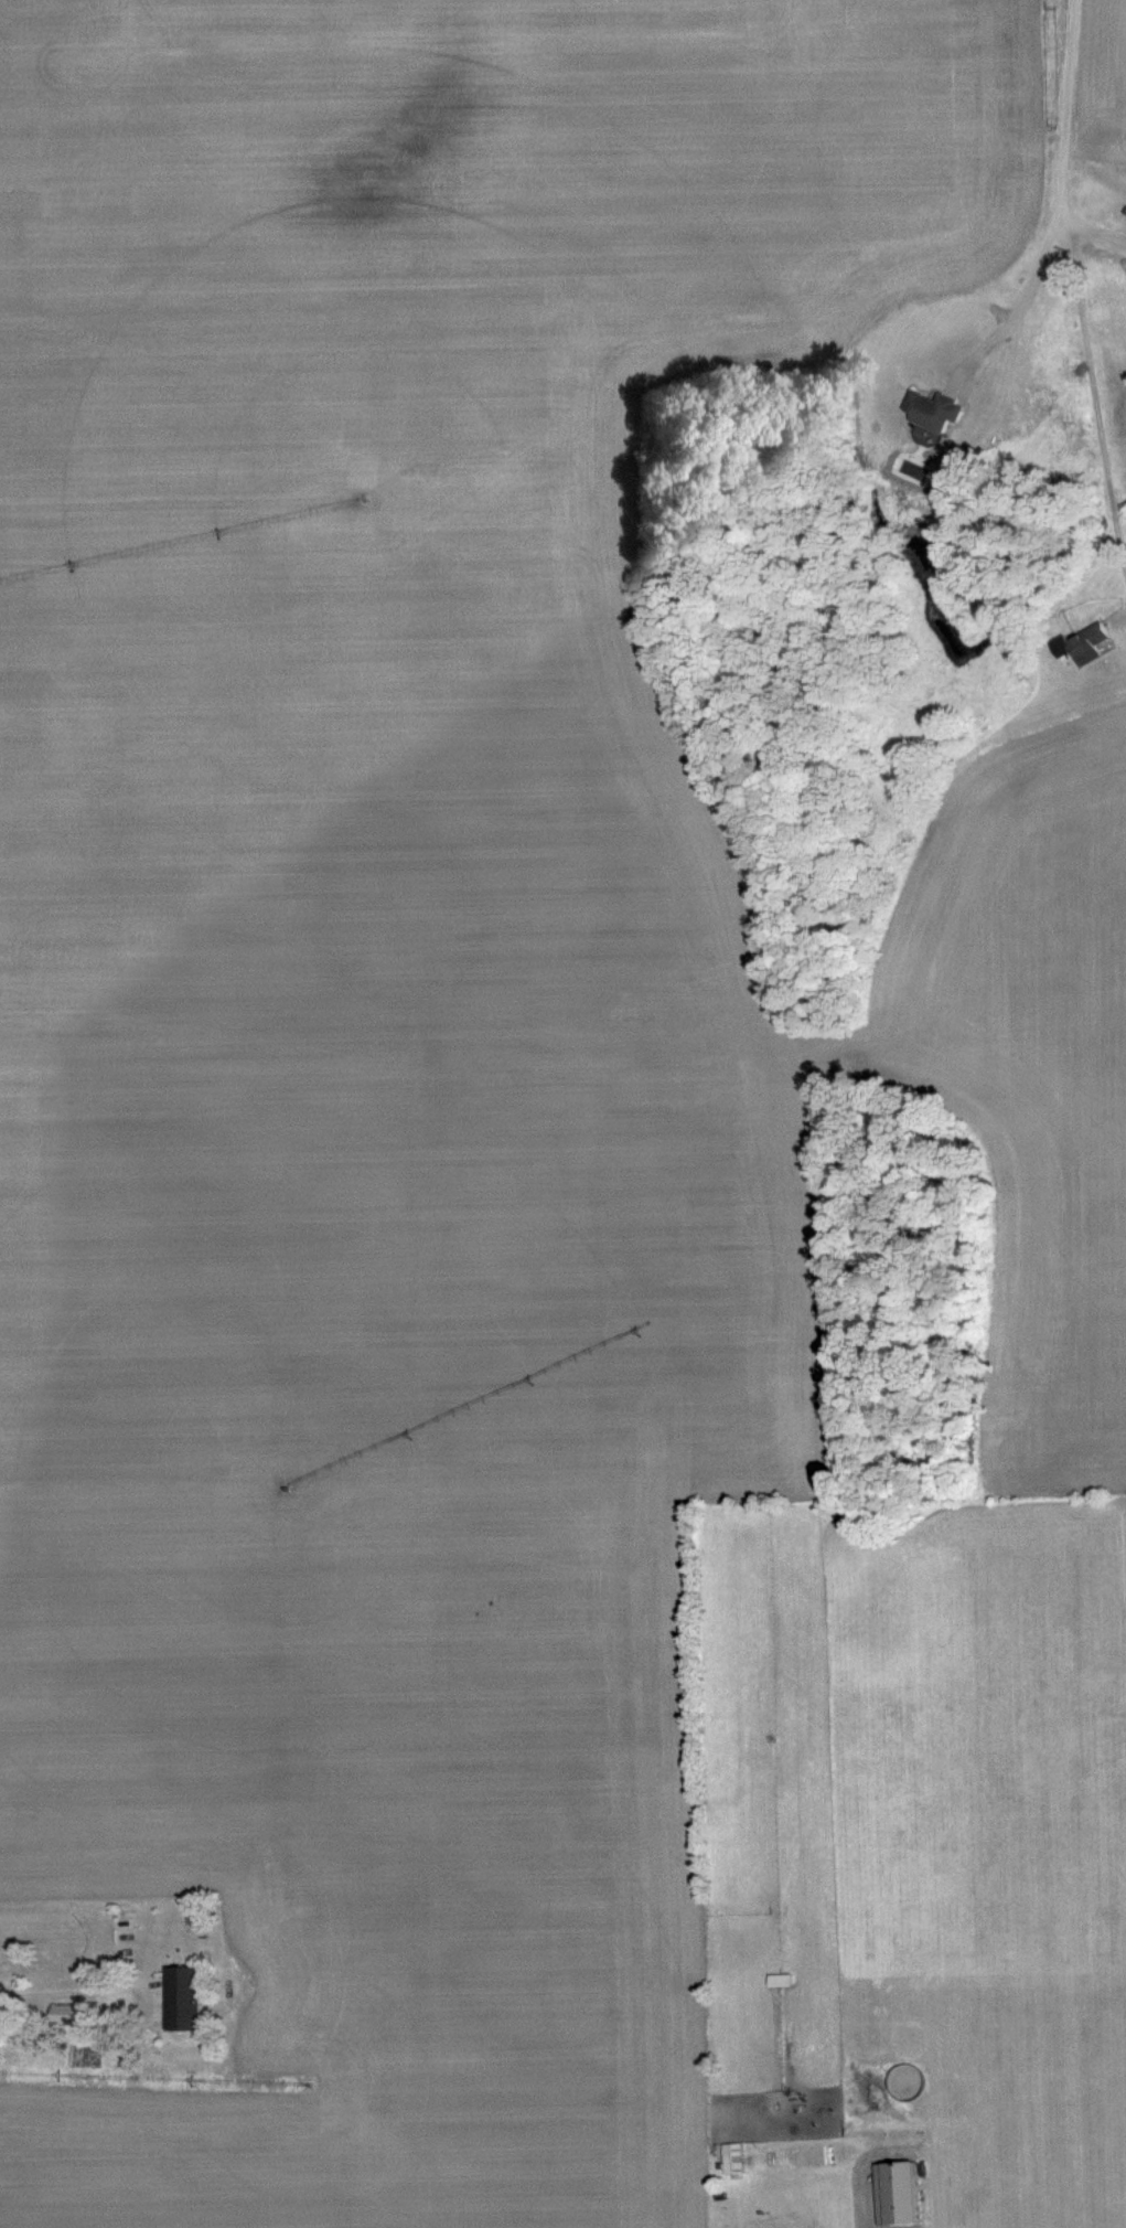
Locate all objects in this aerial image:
road: (1053, 199)
road: (1089, 226)
road: (1087, 405)
building: (933, 408)
building: (1090, 641)
building: (780, 1976)
road: (42, 1992)
building: (182, 1995)
building: (732, 2155)

